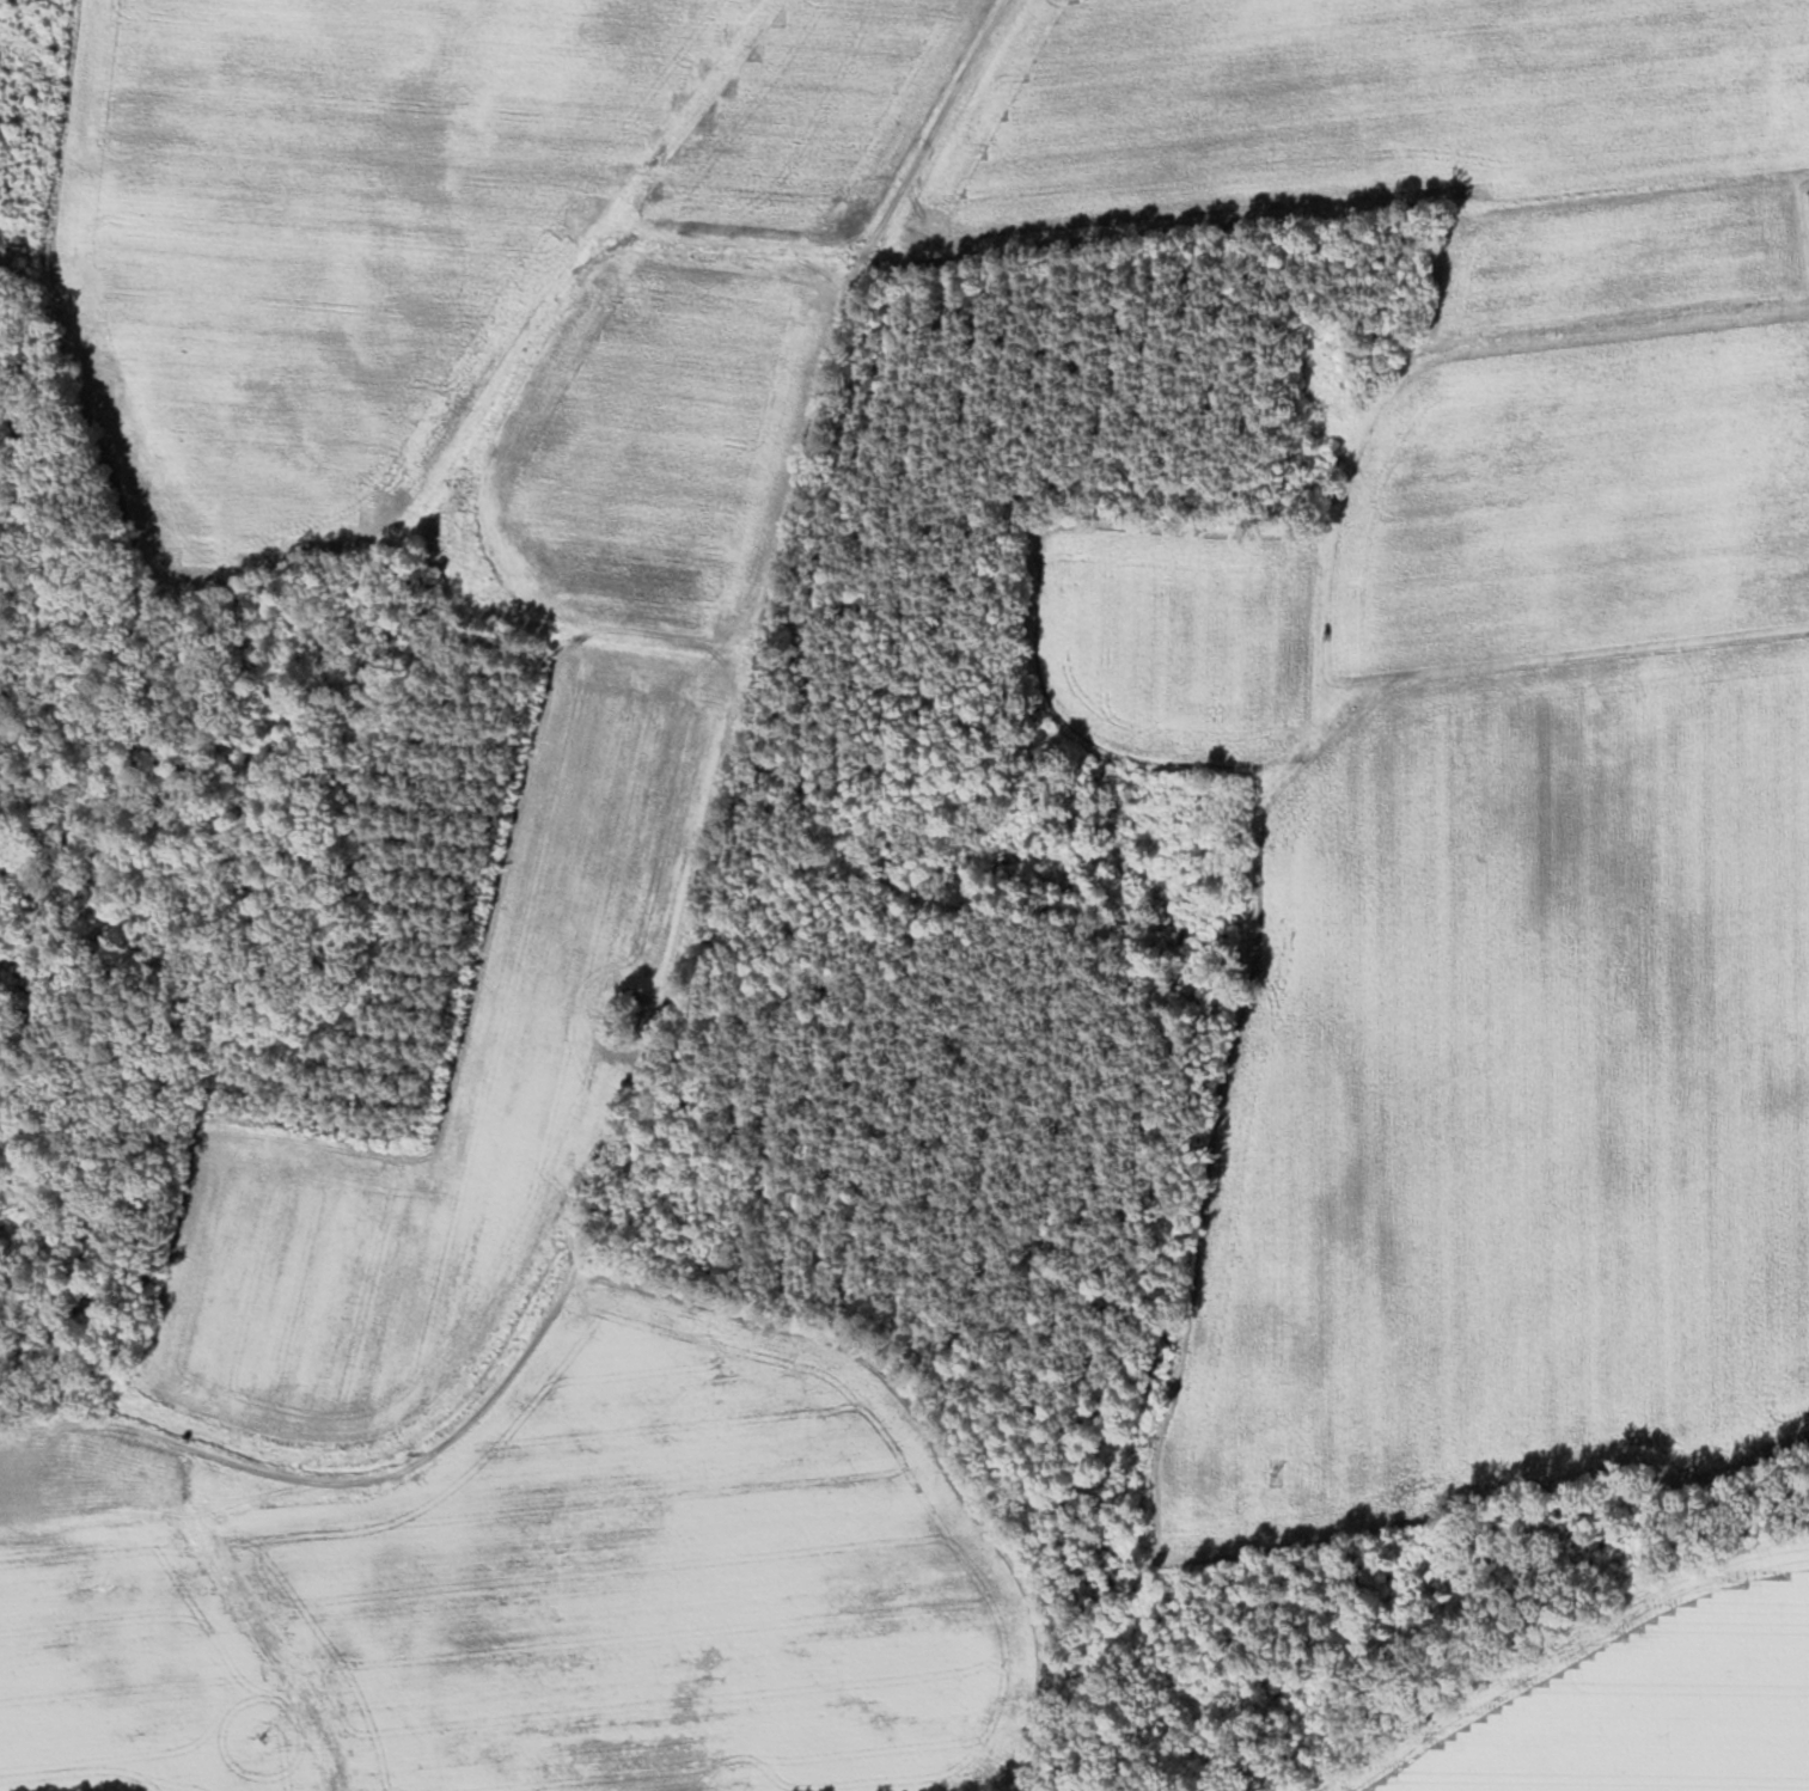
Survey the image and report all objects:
building: (1807, 203)

